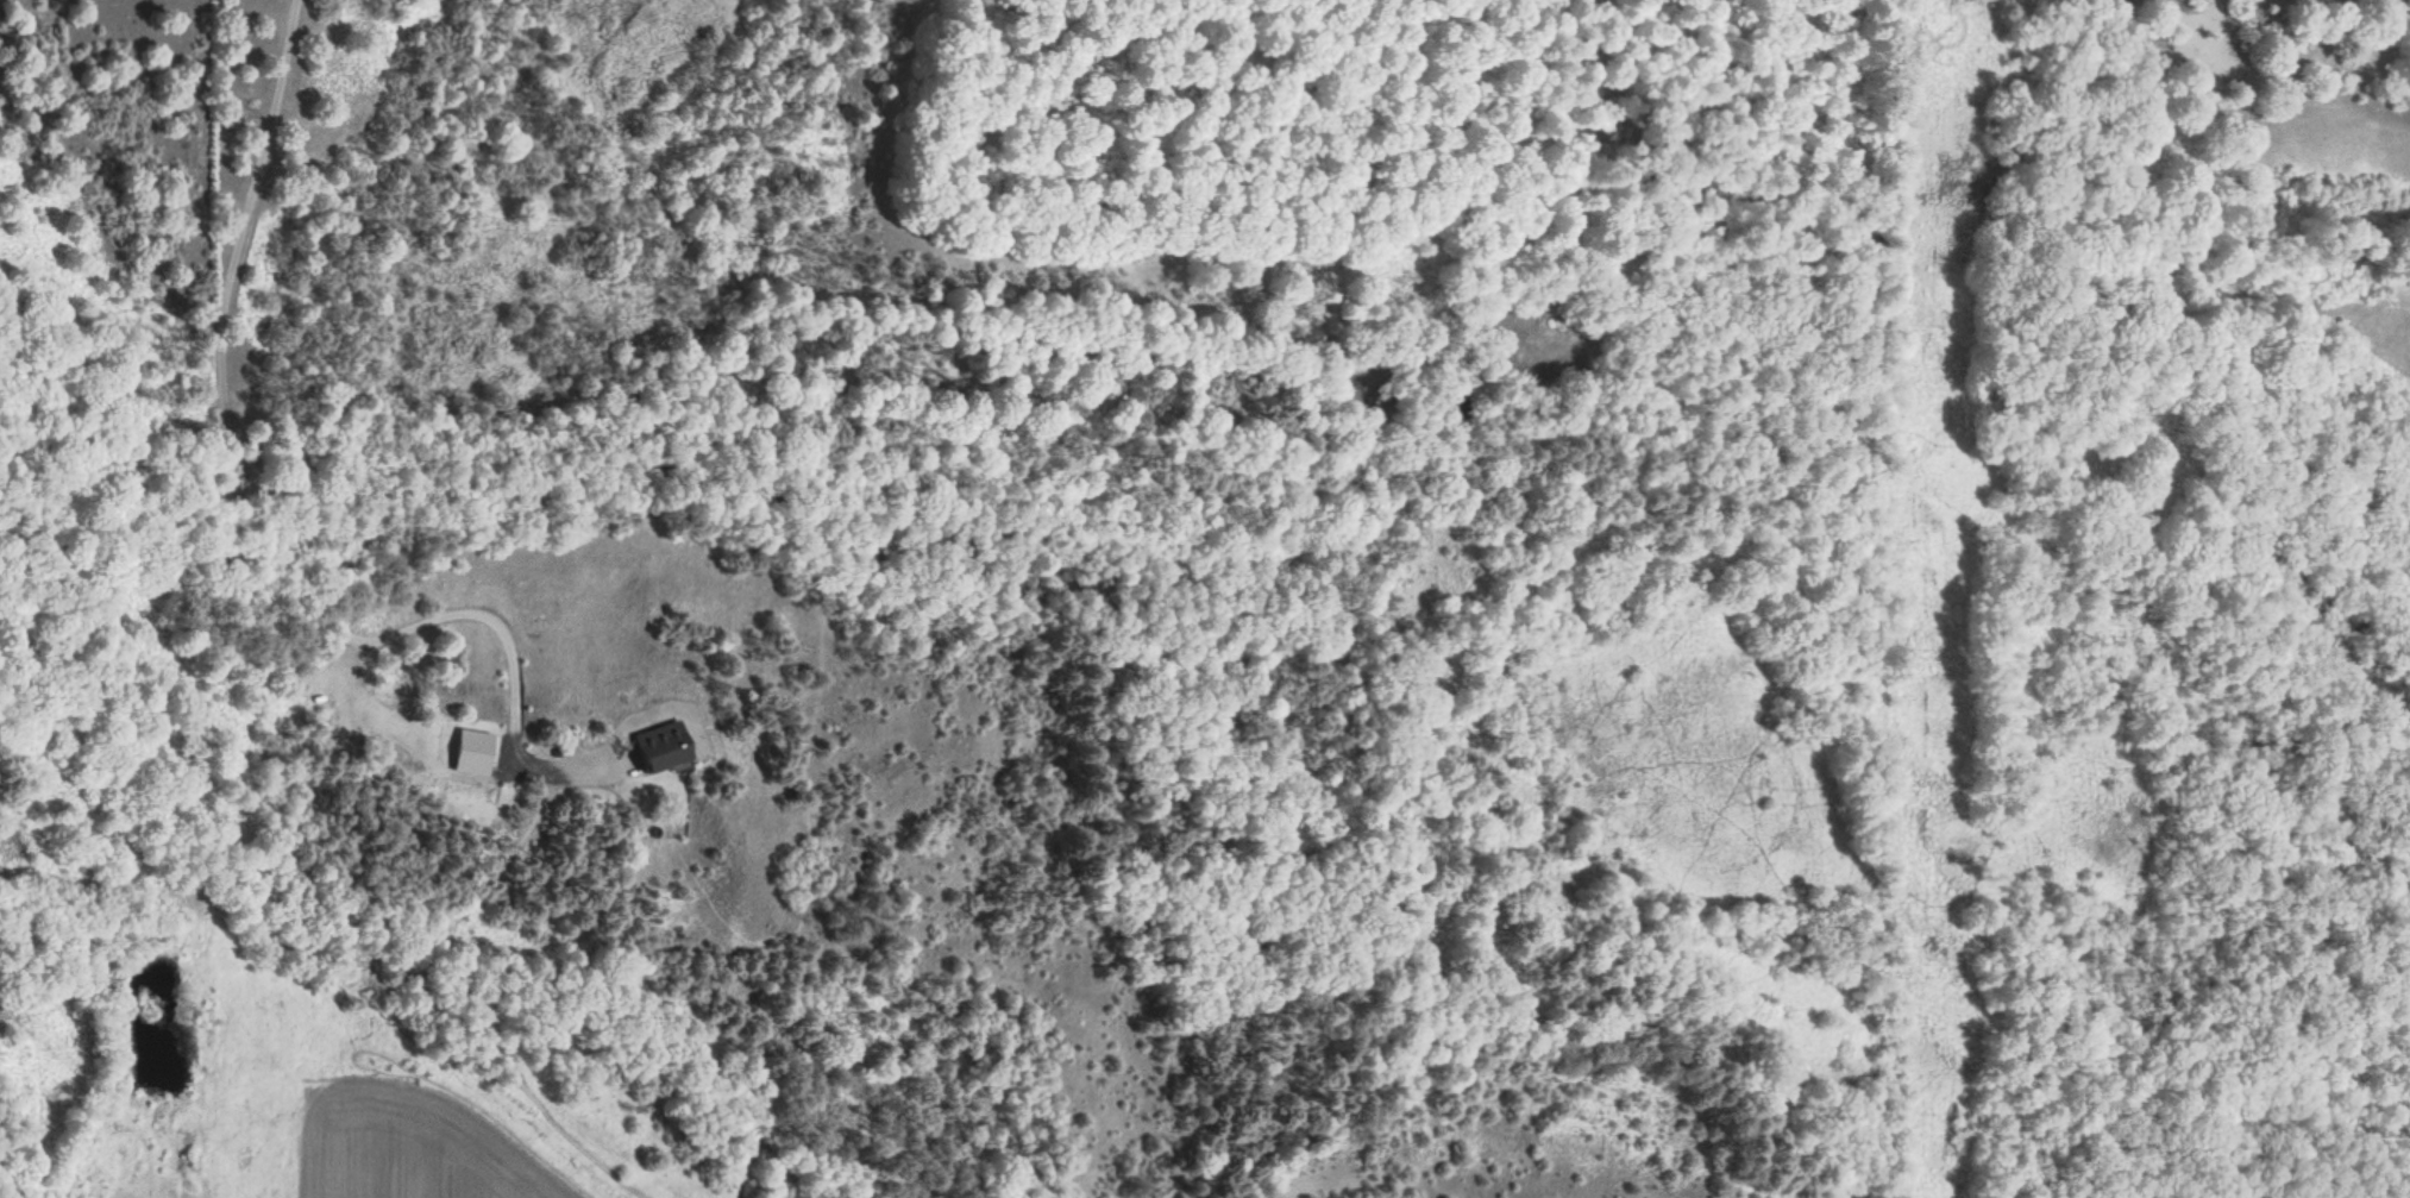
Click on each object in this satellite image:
building: (663, 746)

